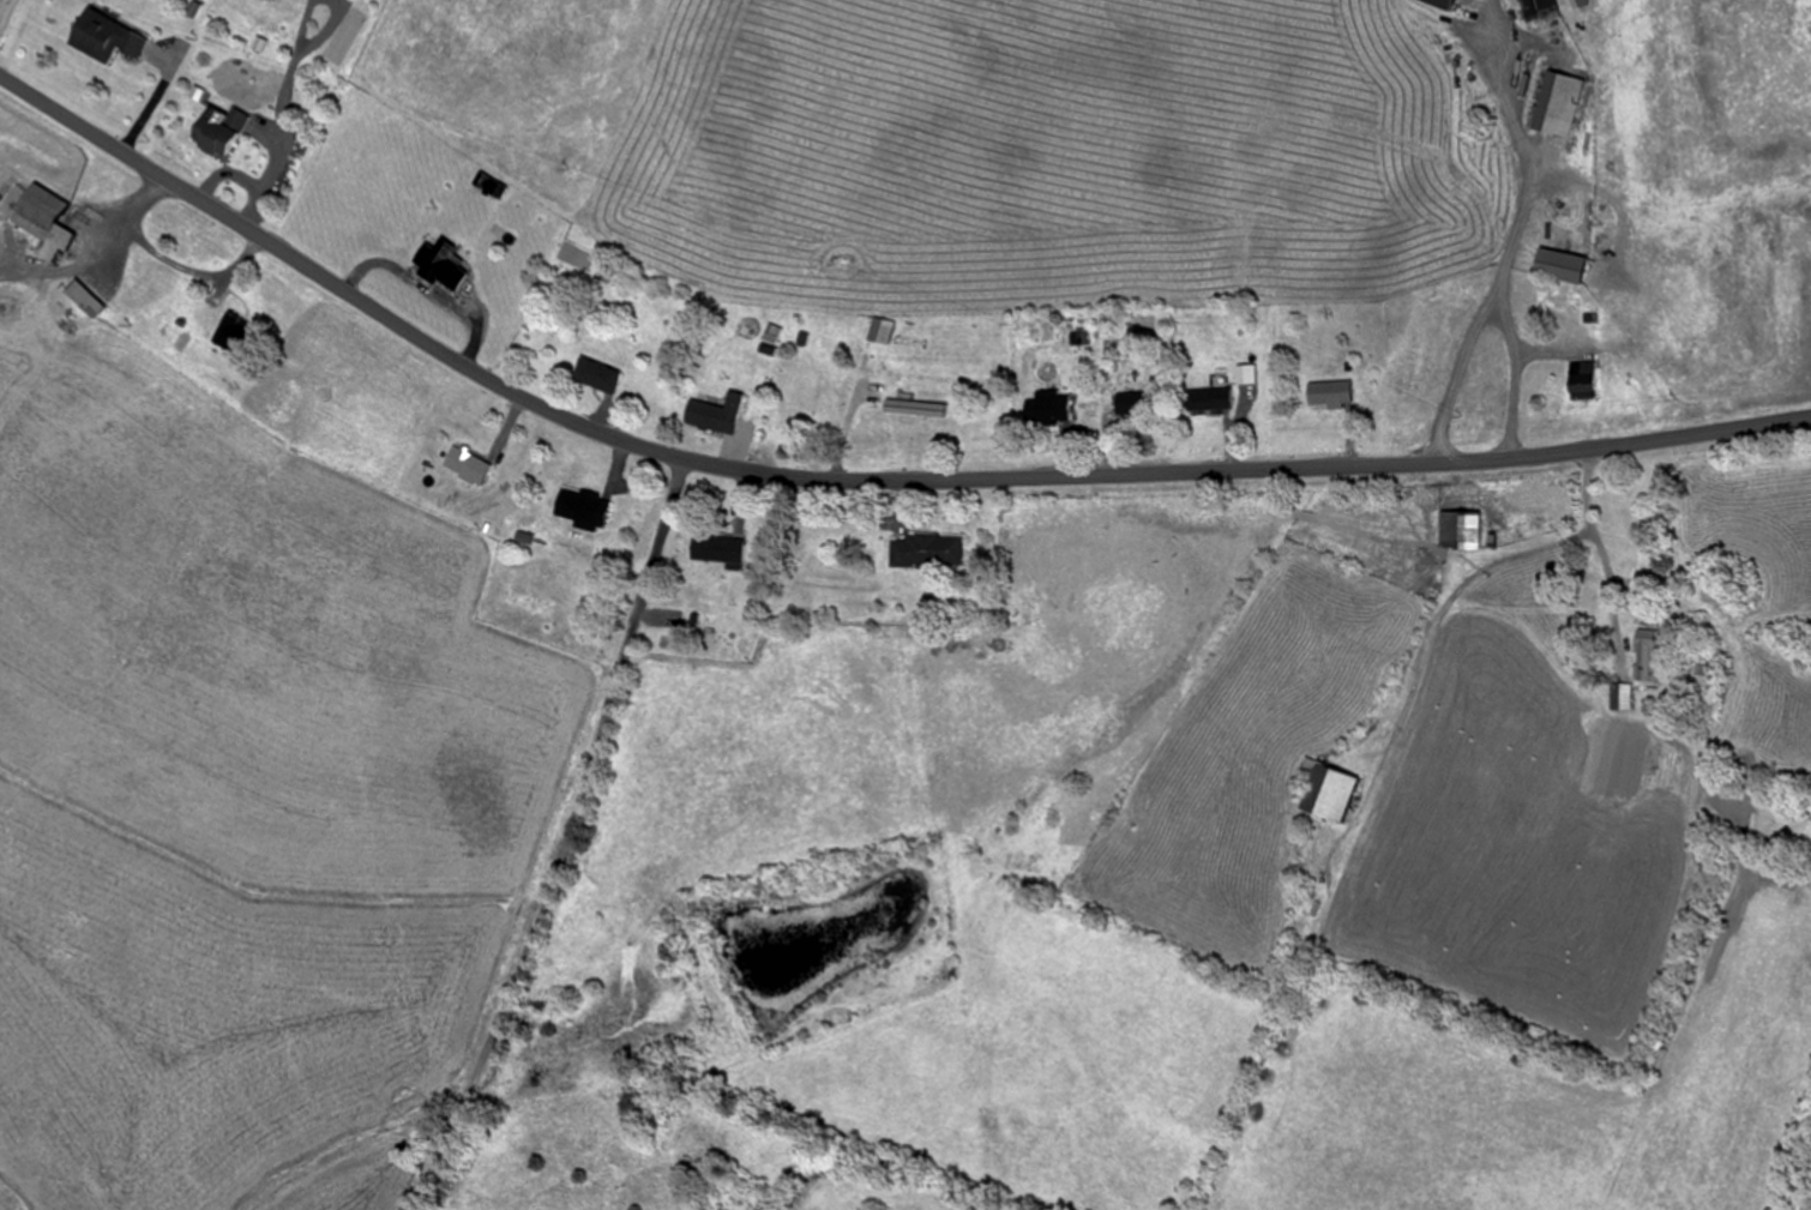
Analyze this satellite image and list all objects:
building: (1443, 4)
building: (1540, 8)
building: (116, 36)
building: (1559, 112)
building: (228, 132)
building: (60, 219)
road: (1449, 231)
building: (450, 265)
building: (1556, 265)
building: (95, 297)
building: (243, 332)
building: (780, 333)
building: (885, 336)
building: (1244, 374)
building: (608, 375)
building: (1577, 380)
building: (1328, 393)
building: (1213, 399)
building: (1138, 402)
building: (1055, 410)
building: (727, 414)
building: (475, 464)
road: (854, 480)
building: (591, 508)
building: (1461, 530)
building: (730, 549)
building: (937, 550)
building: (1651, 655)
building: (1622, 697)
building: (1325, 793)
road: (564, 838)

